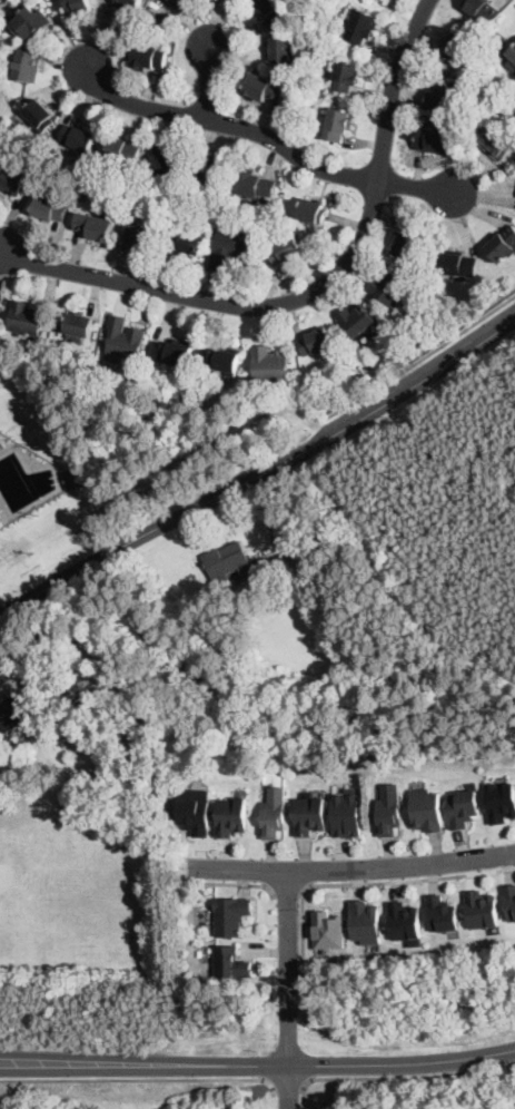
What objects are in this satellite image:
building: (128, 4)
building: (181, 4)
building: (14, 7)
building: (77, 7)
building: (271, 9)
building: (483, 10)
building: (30, 21)
building: (167, 26)
building: (363, 26)
building: (1, 39)
building: (458, 46)
building: (280, 49)
building: (512, 51)
building: (149, 55)
building: (27, 66)
building: (482, 70)
building: (346, 76)
road: (209, 82)
building: (265, 87)
building: (4, 97)
building: (447, 98)
building: (39, 115)
building: (338, 125)
road: (268, 136)
building: (78, 137)
building: (433, 138)
building: (497, 143)
building: (125, 149)
building: (166, 163)
building: (41, 167)
building: (131, 167)
building: (212, 167)
building: (13, 180)
building: (255, 184)
building: (50, 208)
building: (311, 210)
building: (95, 226)
building: (140, 236)
building: (407, 243)
building: (184, 244)
building: (503, 244)
building: (230, 251)
building: (286, 251)
building: (458, 263)
building: (389, 288)
road: (313, 289)
building: (1, 297)
building: (26, 318)
building: (356, 320)
building: (442, 323)
building: (77, 326)
building: (125, 338)
building: (316, 341)
building: (402, 349)
building: (174, 351)
building: (220, 359)
road: (419, 360)
building: (271, 367)
building: (135, 374)
road: (261, 474)
building: (71, 478)
building: (274, 539)
building: (227, 560)
building: (288, 597)
building: (17, 714)
building: (501, 802)
building: (463, 807)
building: (426, 809)
building: (388, 811)
building: (347, 812)
building: (274, 813)
building: (195, 815)
building: (231, 815)
building: (309, 815)
road: (351, 868)
road: (362, 882)
road: (248, 884)
road: (288, 893)
building: (511, 901)
building: (481, 910)
building: (442, 914)
building: (230, 915)
building: (404, 921)
building: (366, 922)
building: (328, 930)
building: (231, 963)
road: (289, 989)
road: (258, 1064)
road: (395, 1073)
road: (138, 1079)
road: (286, 1082)

